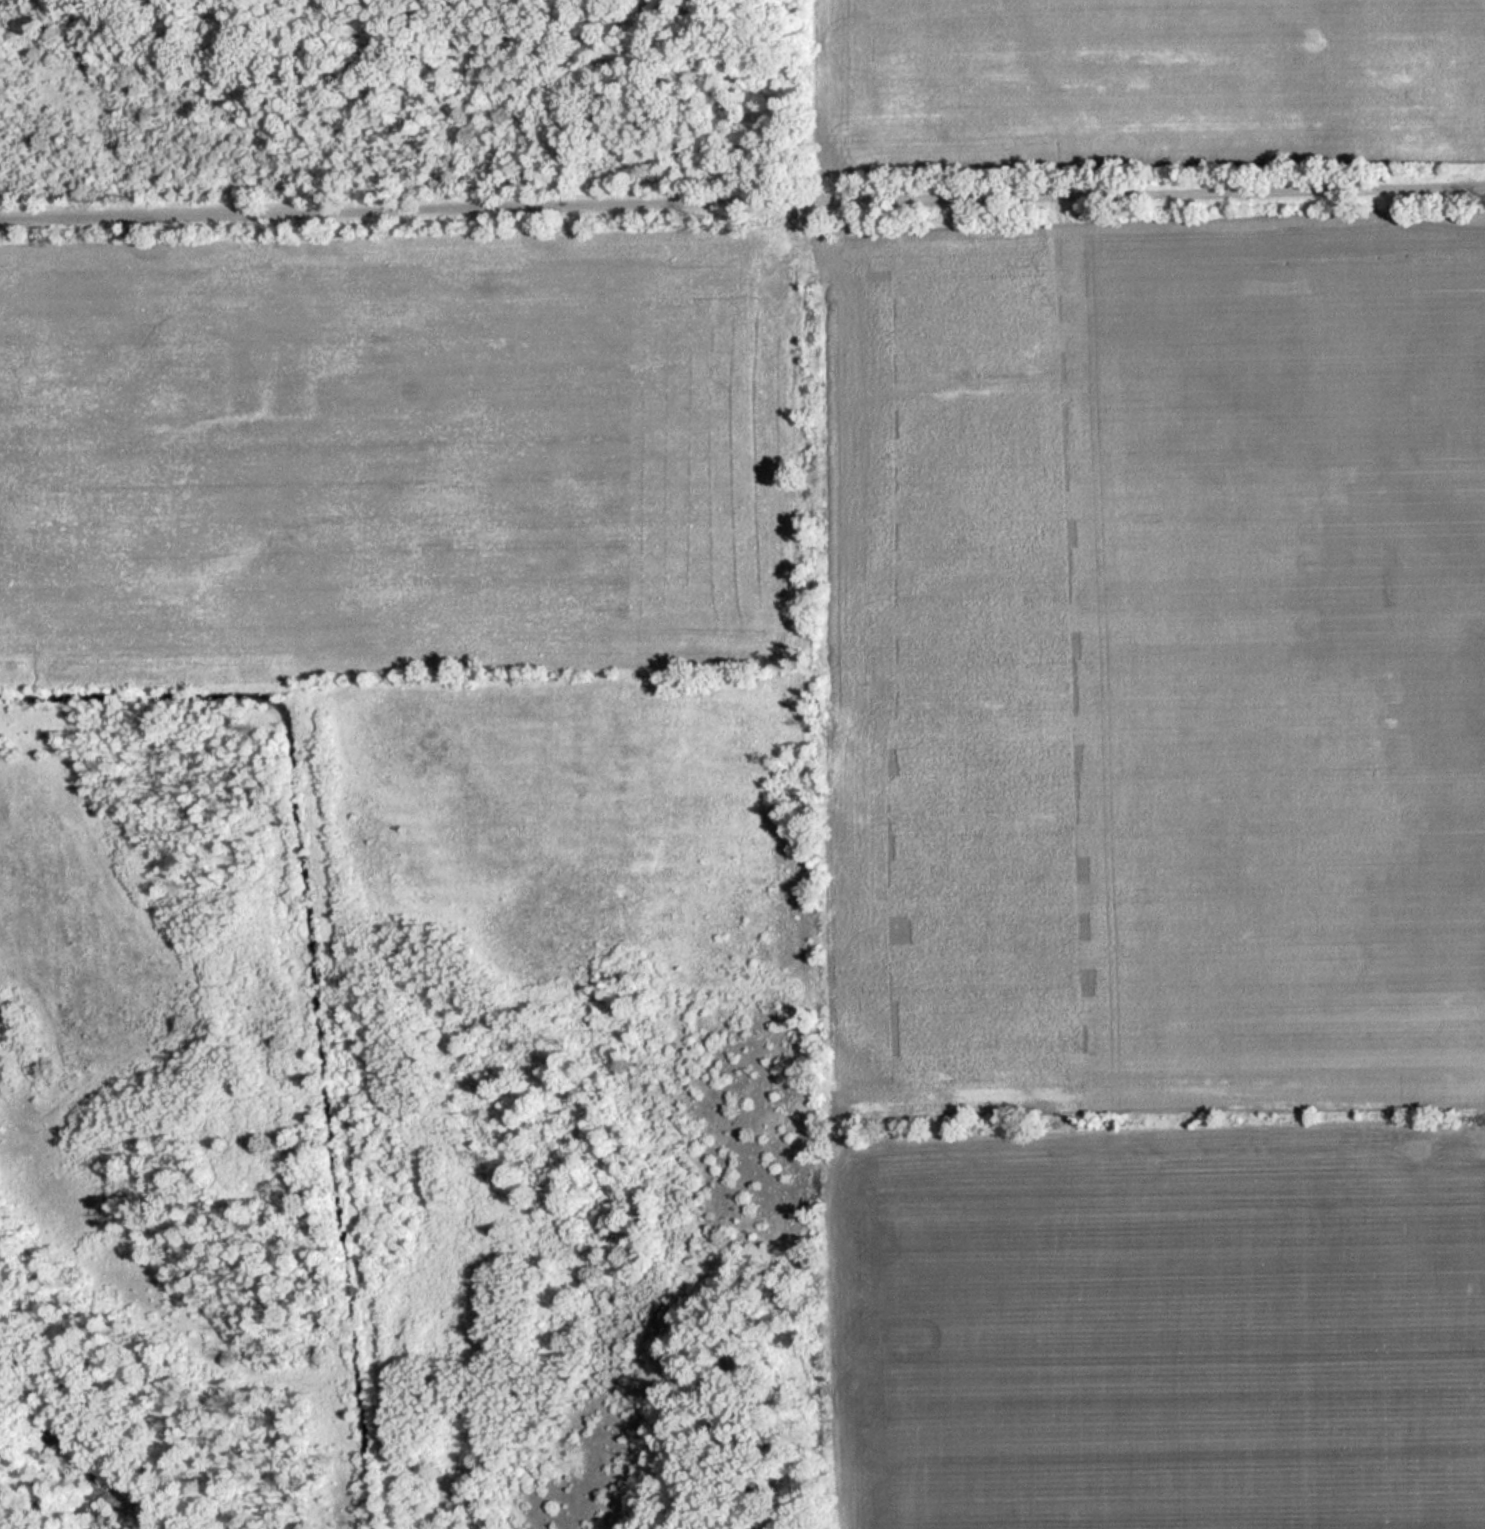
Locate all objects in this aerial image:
road: (742, 213)

